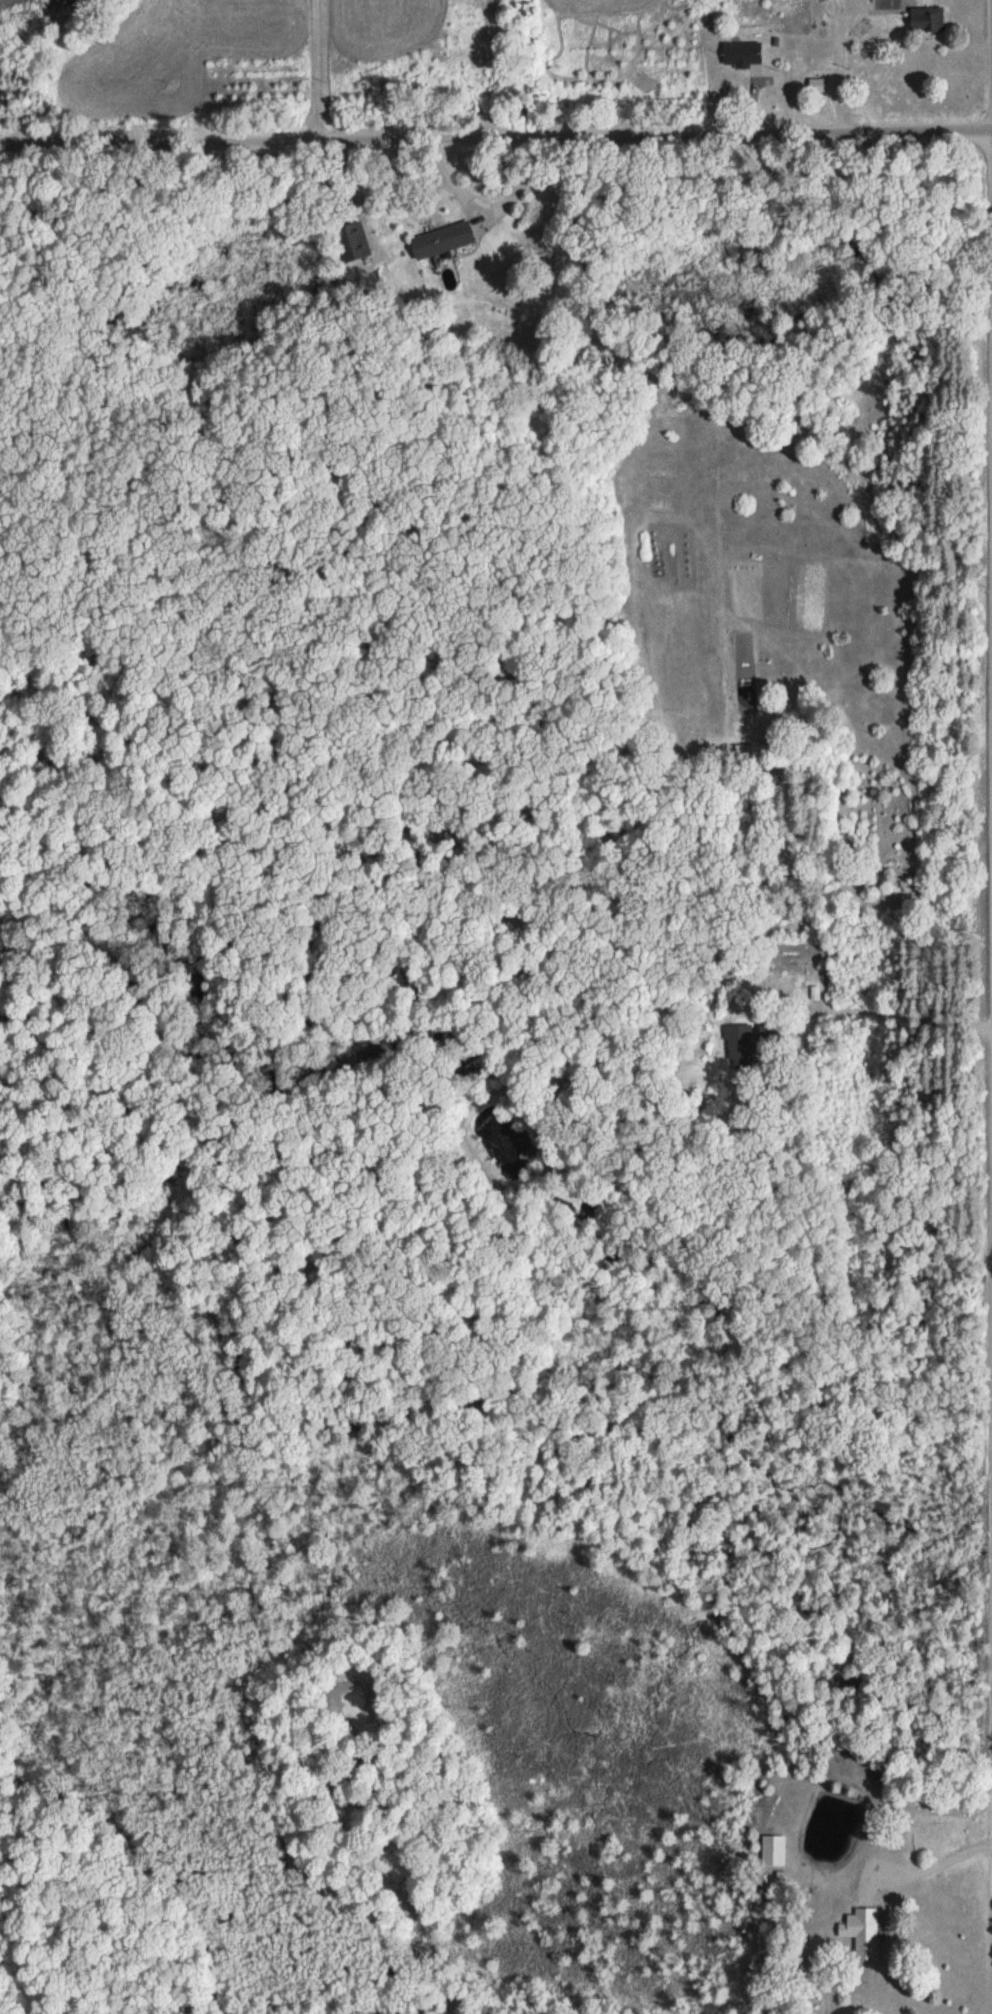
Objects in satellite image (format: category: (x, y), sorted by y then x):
building: (926, 18)
building: (741, 53)
road: (318, 71)
building: (816, 85)
road: (496, 139)
building: (357, 239)
building: (442, 239)
road: (890, 1012)
building: (739, 1041)
building: (772, 1850)
road: (938, 1861)
building: (860, 1927)

